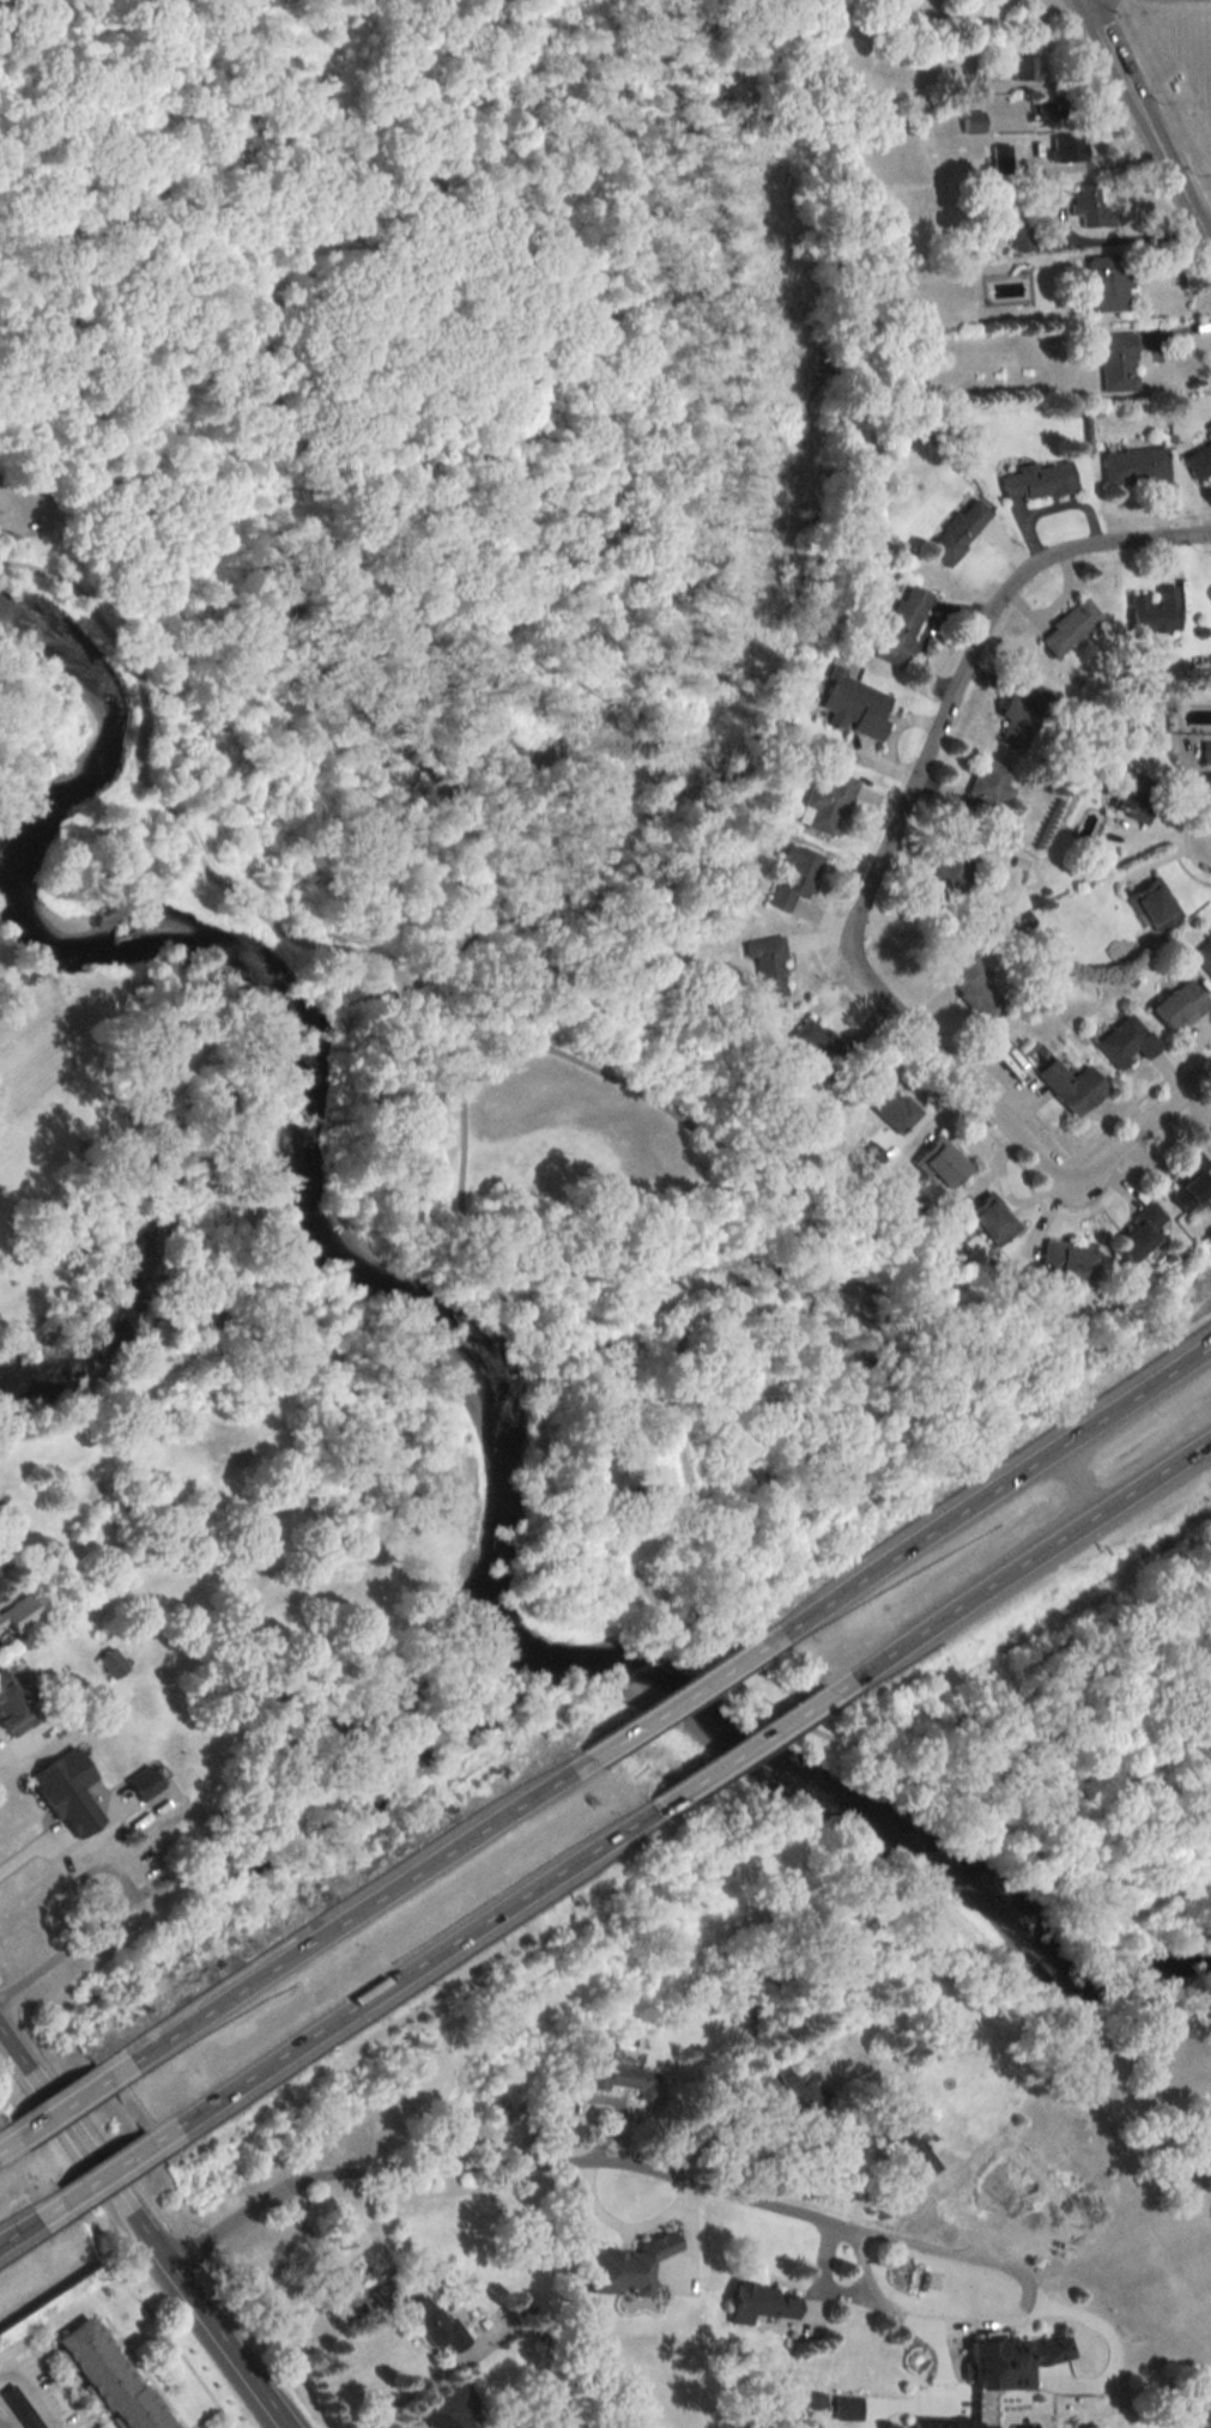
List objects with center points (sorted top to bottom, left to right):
building: (1024, 67)
building: (1048, 107)
building: (973, 122)
road: (1149, 122)
building: (1067, 147)
building: (1001, 157)
building: (1089, 206)
building: (1022, 237)
building: (1106, 283)
road: (618, 332)
building: (1114, 361)
building: (1209, 434)
building: (1198, 461)
building: (1133, 466)
building: (1035, 480)
parking lot: (28, 508)
road: (22, 514)
building: (955, 529)
building: (1152, 612)
building: (901, 625)
building: (1067, 628)
building: (850, 706)
building: (1019, 715)
park: (450, 726)
building: (1205, 750)
building: (988, 788)
building: (1133, 798)
building: (824, 801)
building: (793, 879)
building: (949, 884)
road: (862, 895)
building: (1152, 906)
building: (1203, 956)
building: (767, 967)
building: (973, 991)
building: (1176, 1006)
building: (1124, 1042)
building: (818, 1048)
building: (1070, 1086)
building: (885, 1102)
building: (1210, 1132)
building: (941, 1164)
building: (1189, 1182)
building: (988, 1221)
building: (1137, 1233)
building: (1064, 1261)
road: (525, 1322)
road: (931, 1344)
river: (476, 1389)
road: (1076, 1479)
road: (985, 1494)
road: (1018, 1563)
building: (17, 1615)
road: (1035, 1654)
building: (109, 1665)
road: (672, 1700)
building: (13, 1708)
road: (741, 1748)
park: (1061, 1772)
building: (66, 1794)
road: (99, 1900)
road: (344, 1918)
road: (401, 1973)
building: (620, 2077)
building: (804, 2088)
road: (59, 2107)
building: (497, 2115)
road: (7, 2142)
building: (909, 2144)
road: (588, 2160)
road: (104, 2170)
building: (1001, 2186)
road: (30, 2218)
road: (144, 2228)
road: (622, 2228)
building: (624, 2267)
building: (382, 2294)
road: (873, 2294)
building: (758, 2303)
building: (343, 2305)
building: (434, 2324)
road: (931, 2337)
building: (1007, 2360)
building: (107, 2376)
road: (35, 2386)
building: (847, 2408)
building: (447, 2409)
building: (941, 2423)
road: (1, 2426)

